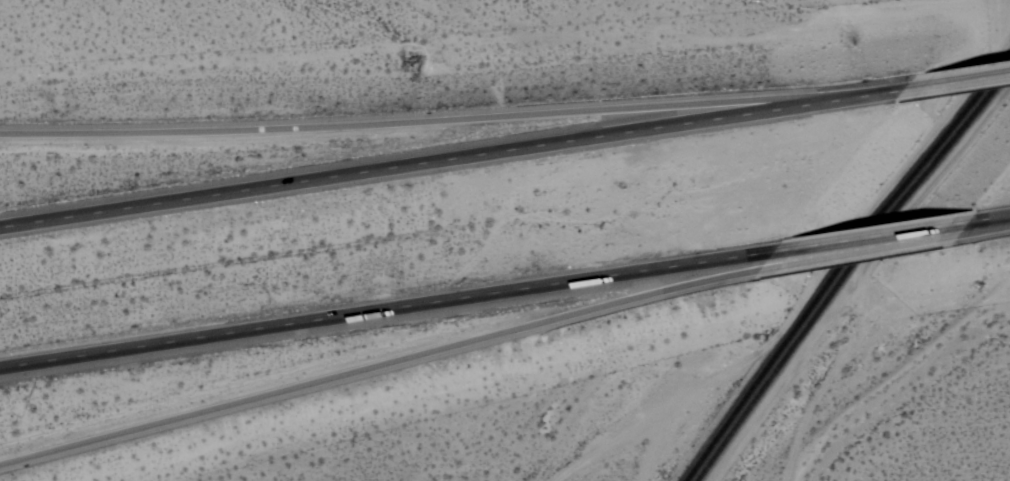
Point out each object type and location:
road: (958, 82)
road: (437, 120)
road: (453, 160)
road: (989, 218)
railway: (865, 233)
road: (870, 236)
road: (840, 255)
railway: (847, 272)
road: (386, 309)
road: (378, 366)
road: (829, 377)
road: (675, 400)
railway: (710, 449)

